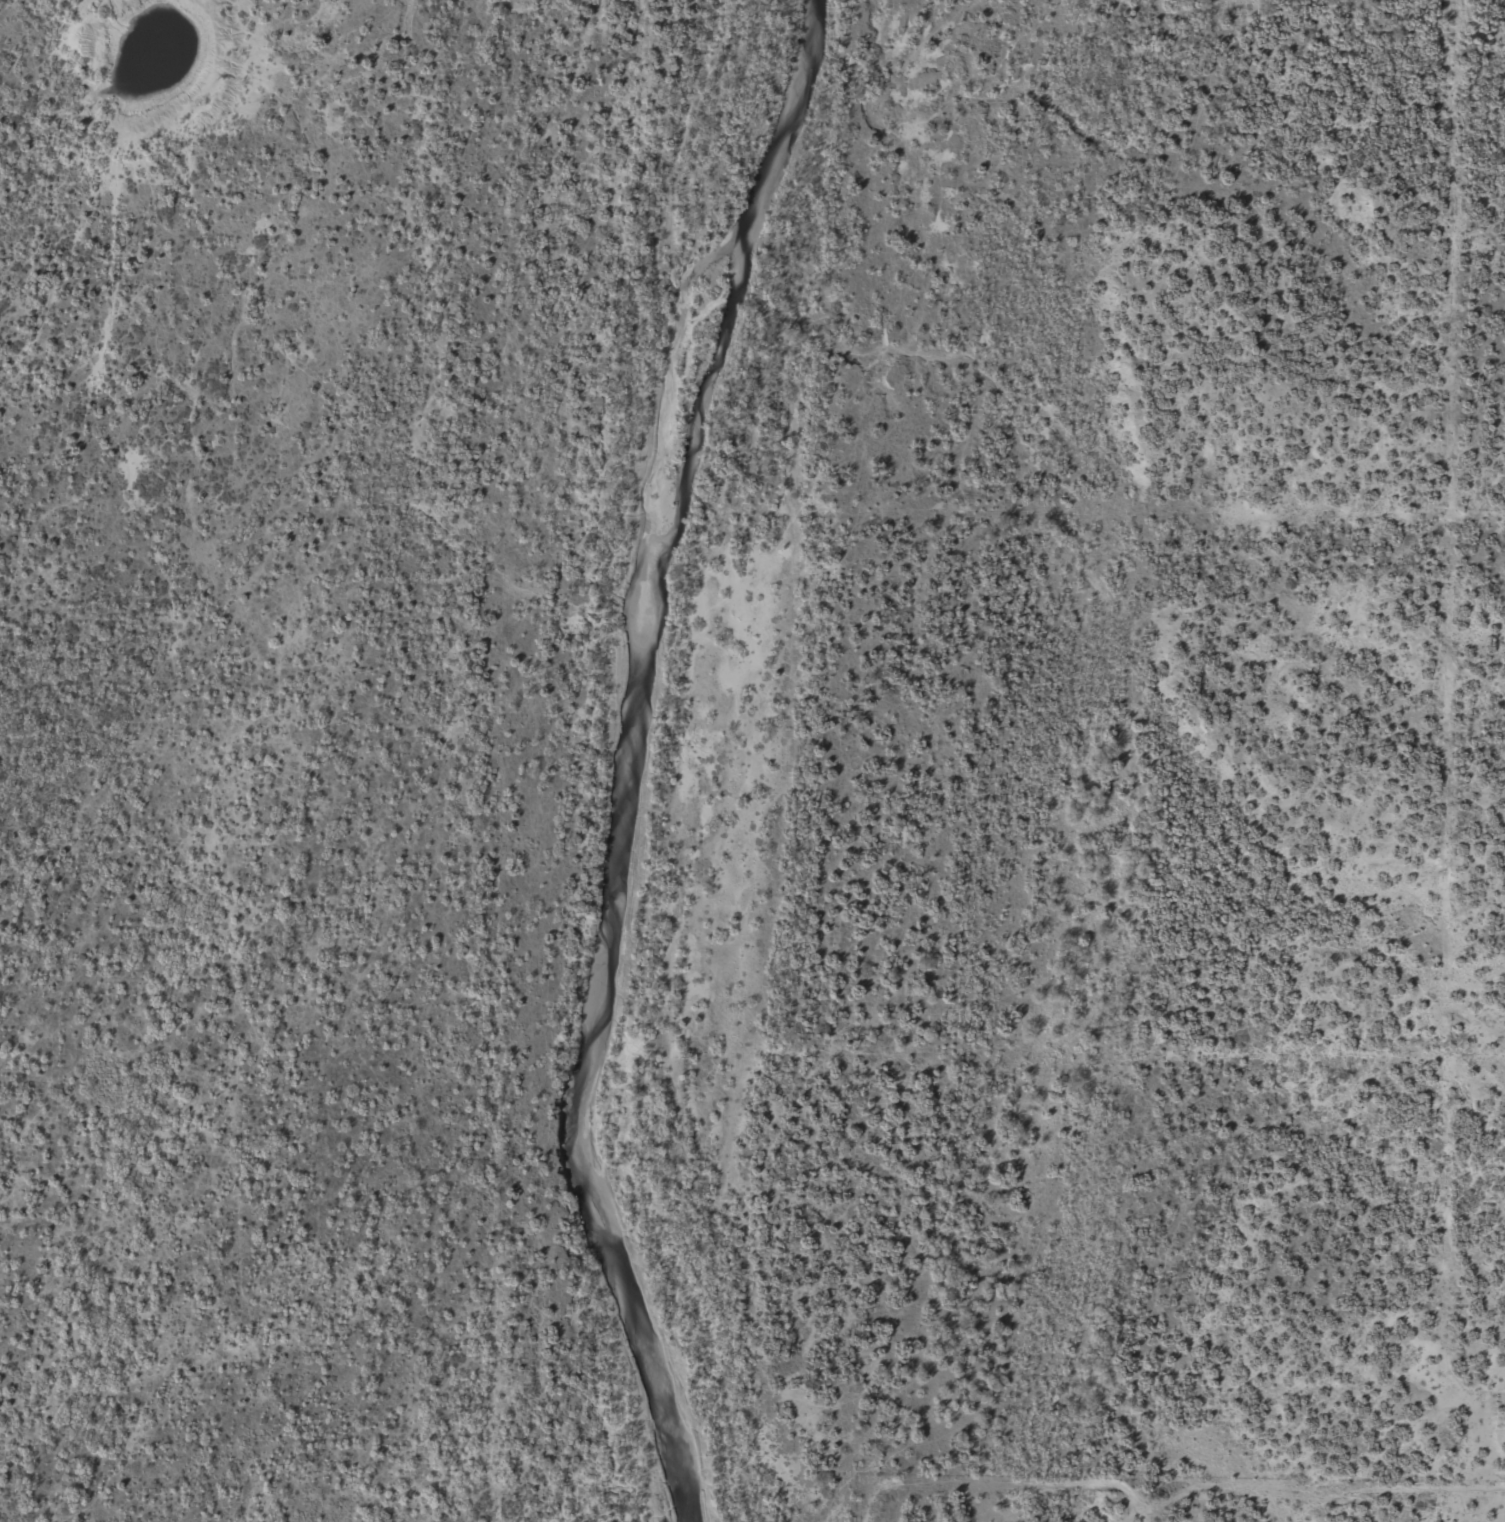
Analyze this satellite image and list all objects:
river: (629, 758)

